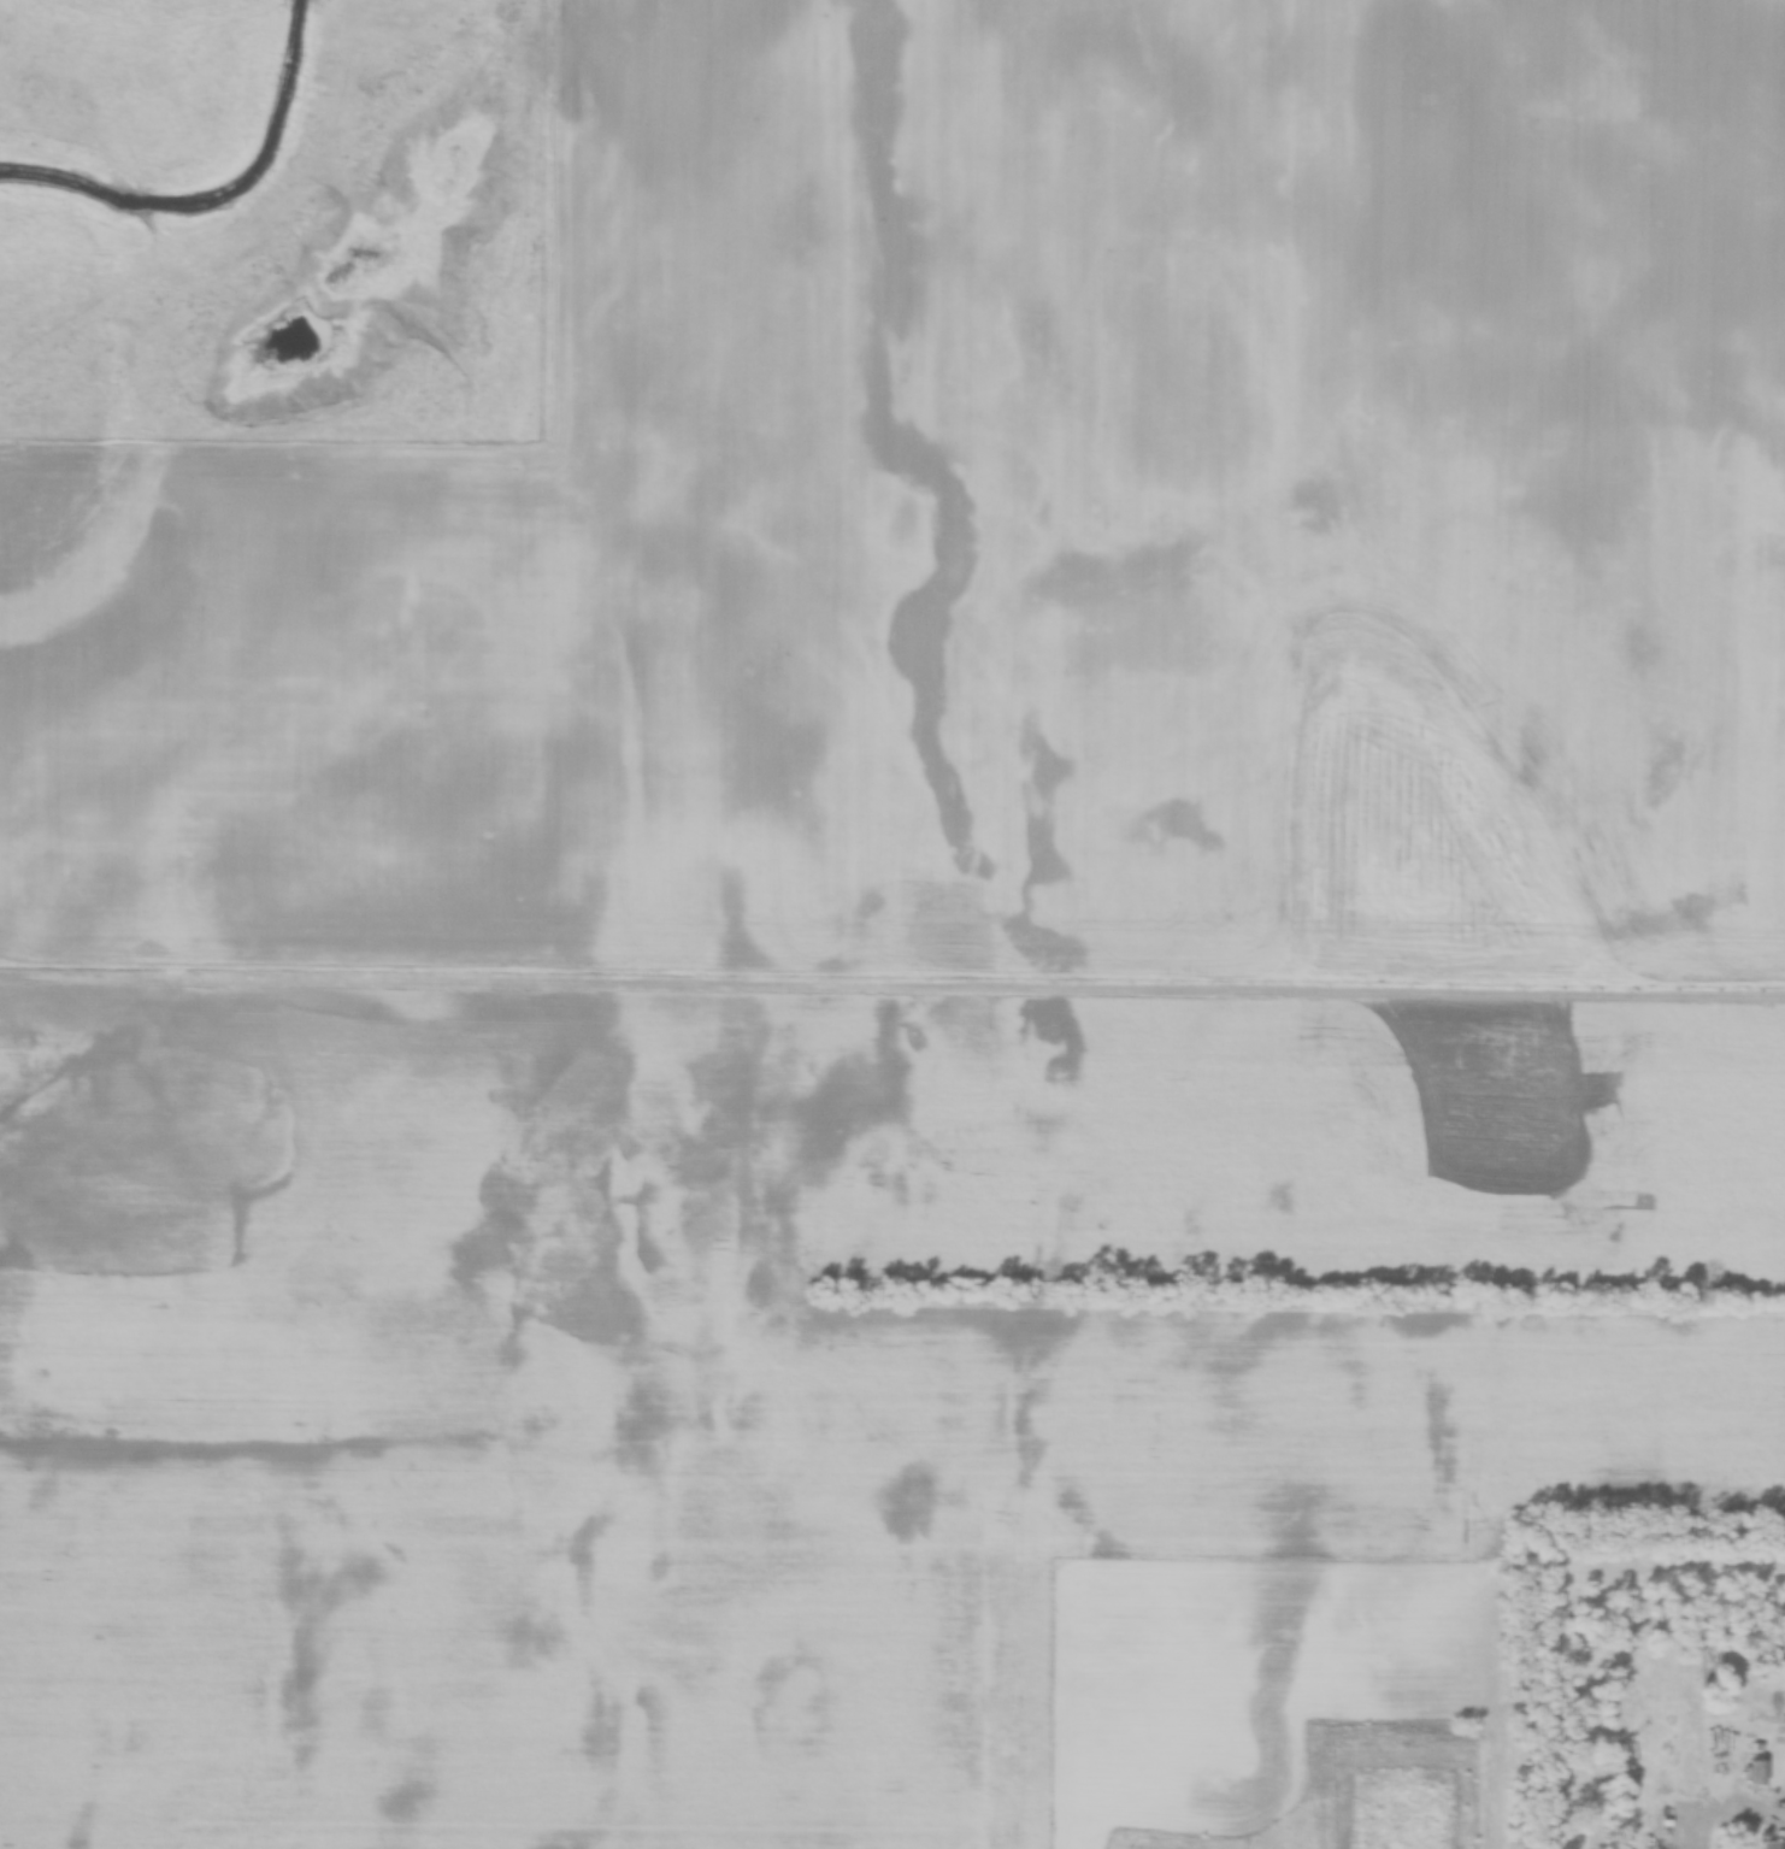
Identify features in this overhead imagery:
building: (1783, 1654)
building: (1755, 1772)
building: (1772, 1844)

